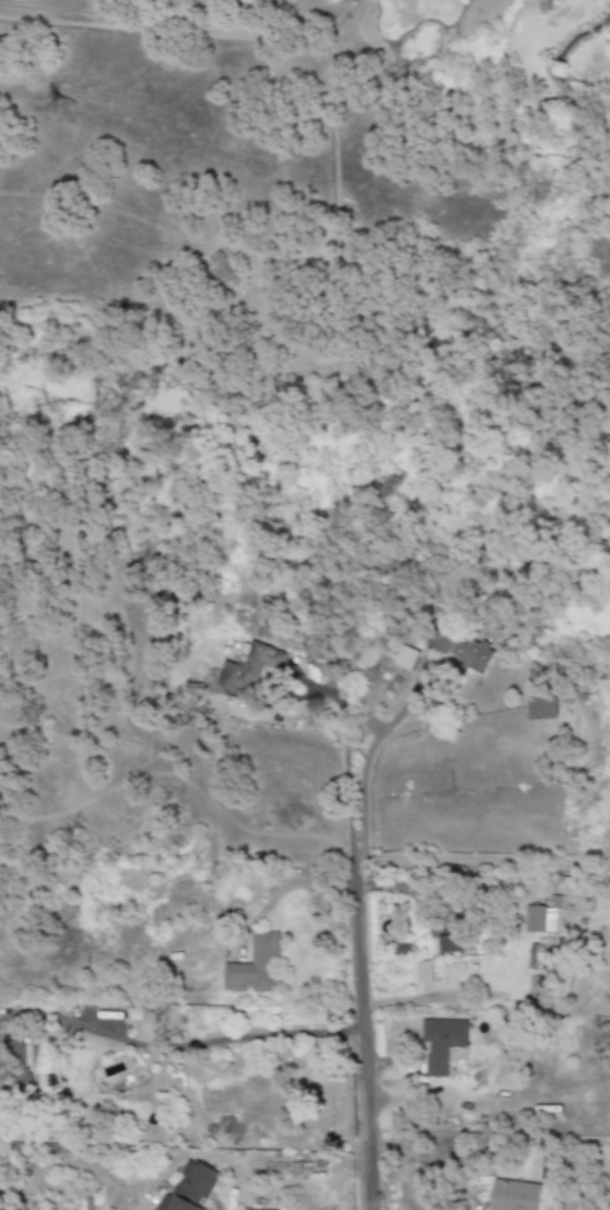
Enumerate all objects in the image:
power tower: (67, 114)
building: (461, 650)
building: (404, 658)
building: (248, 671)
building: (541, 709)
road: (488, 861)
building: (536, 919)
building: (549, 922)
building: (450, 945)
building: (534, 957)
building: (254, 967)
road: (368, 973)
road: (209, 1042)
building: (441, 1043)
building: (12, 1062)
building: (188, 1188)
road: (234, 1198)

